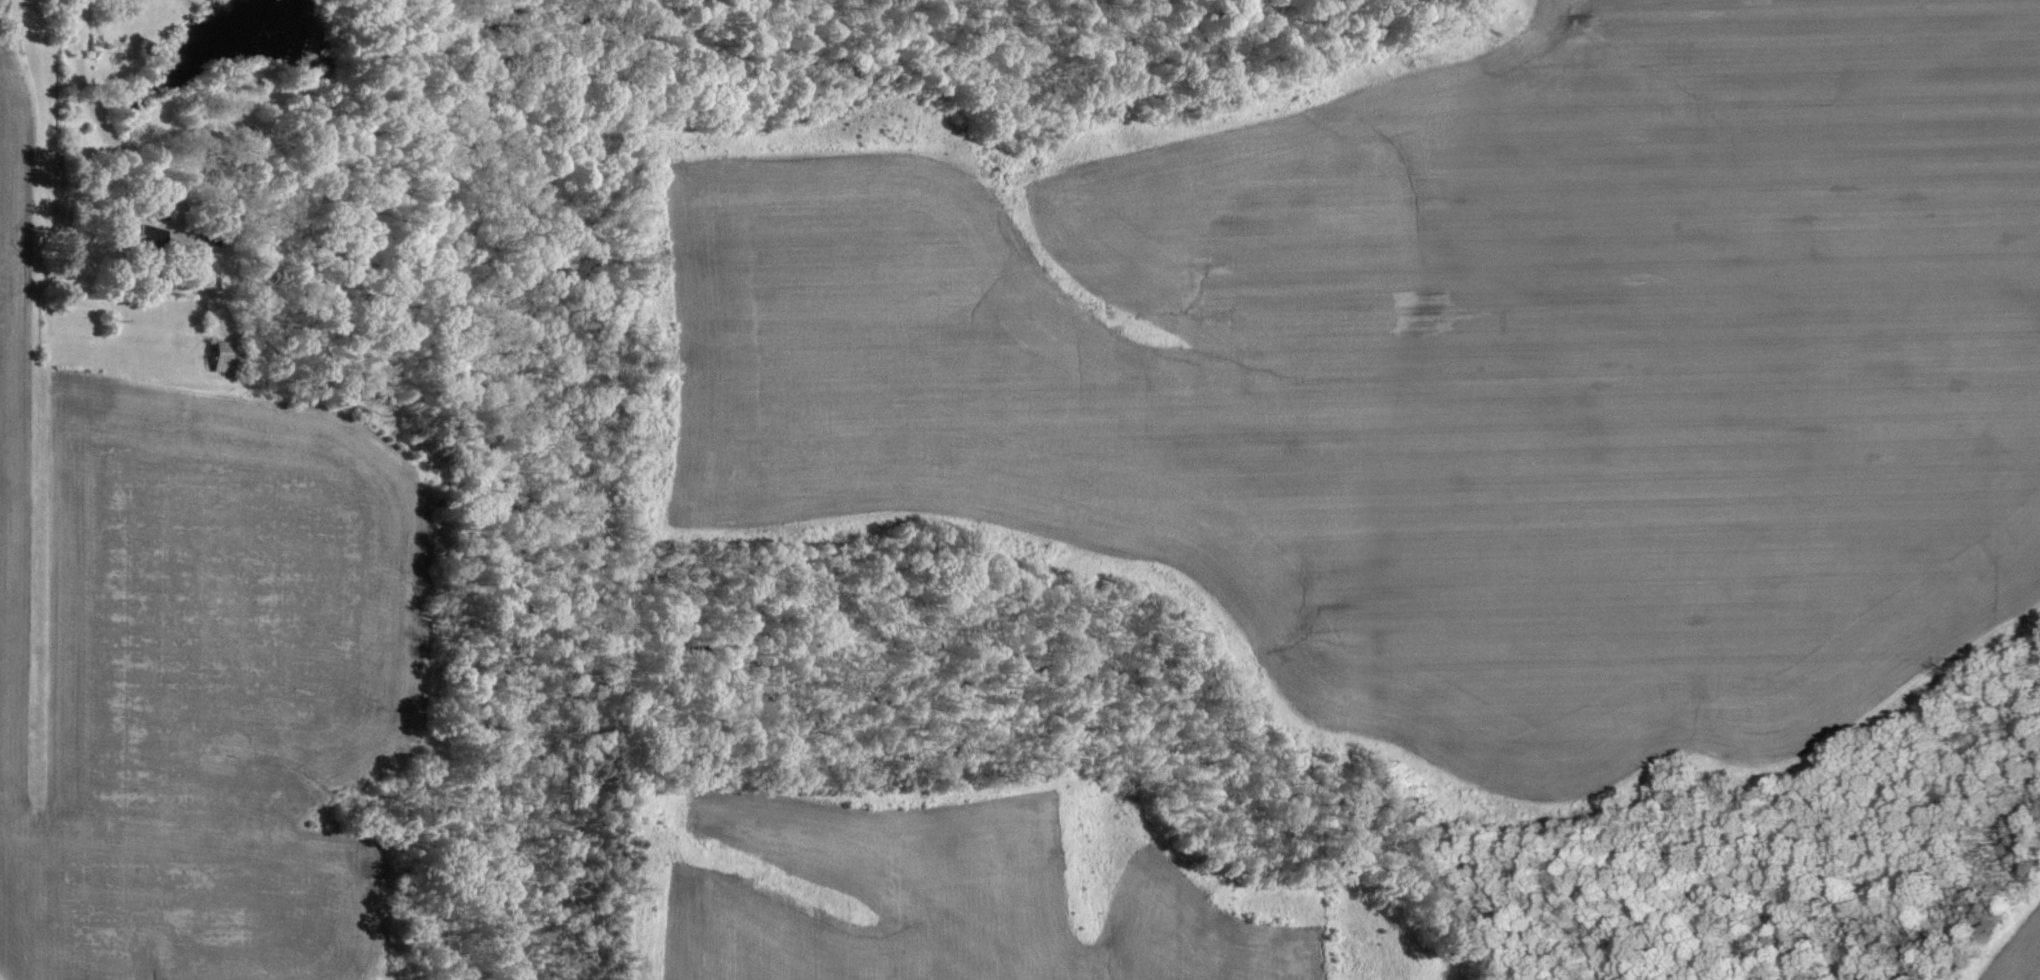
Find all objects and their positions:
road: (97, 117)
building: (228, 357)

